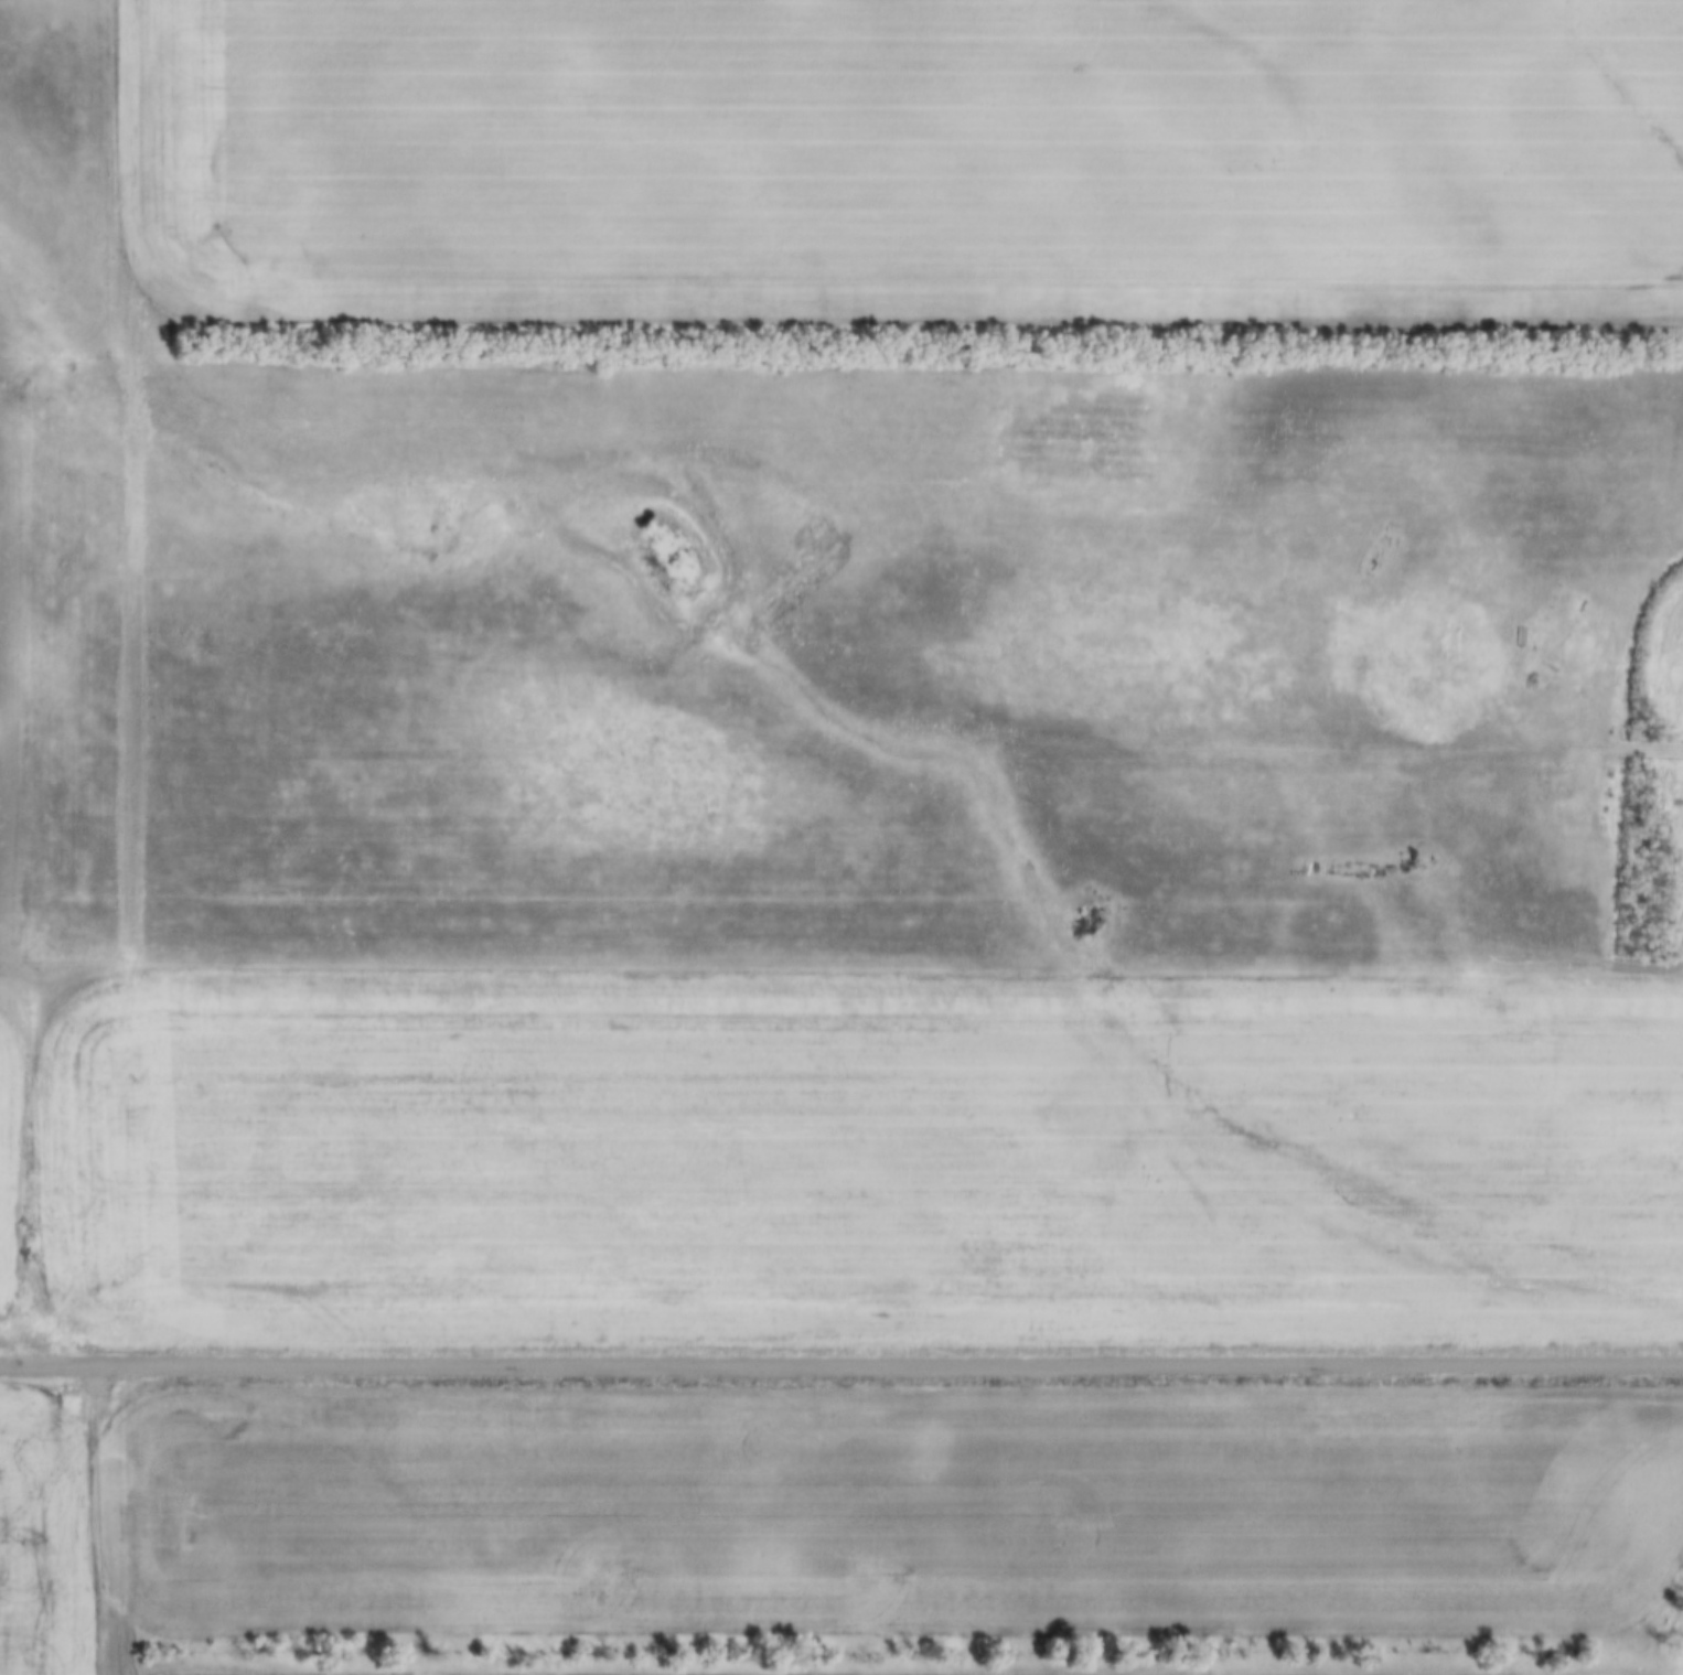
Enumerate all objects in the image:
road: (840, 1359)

